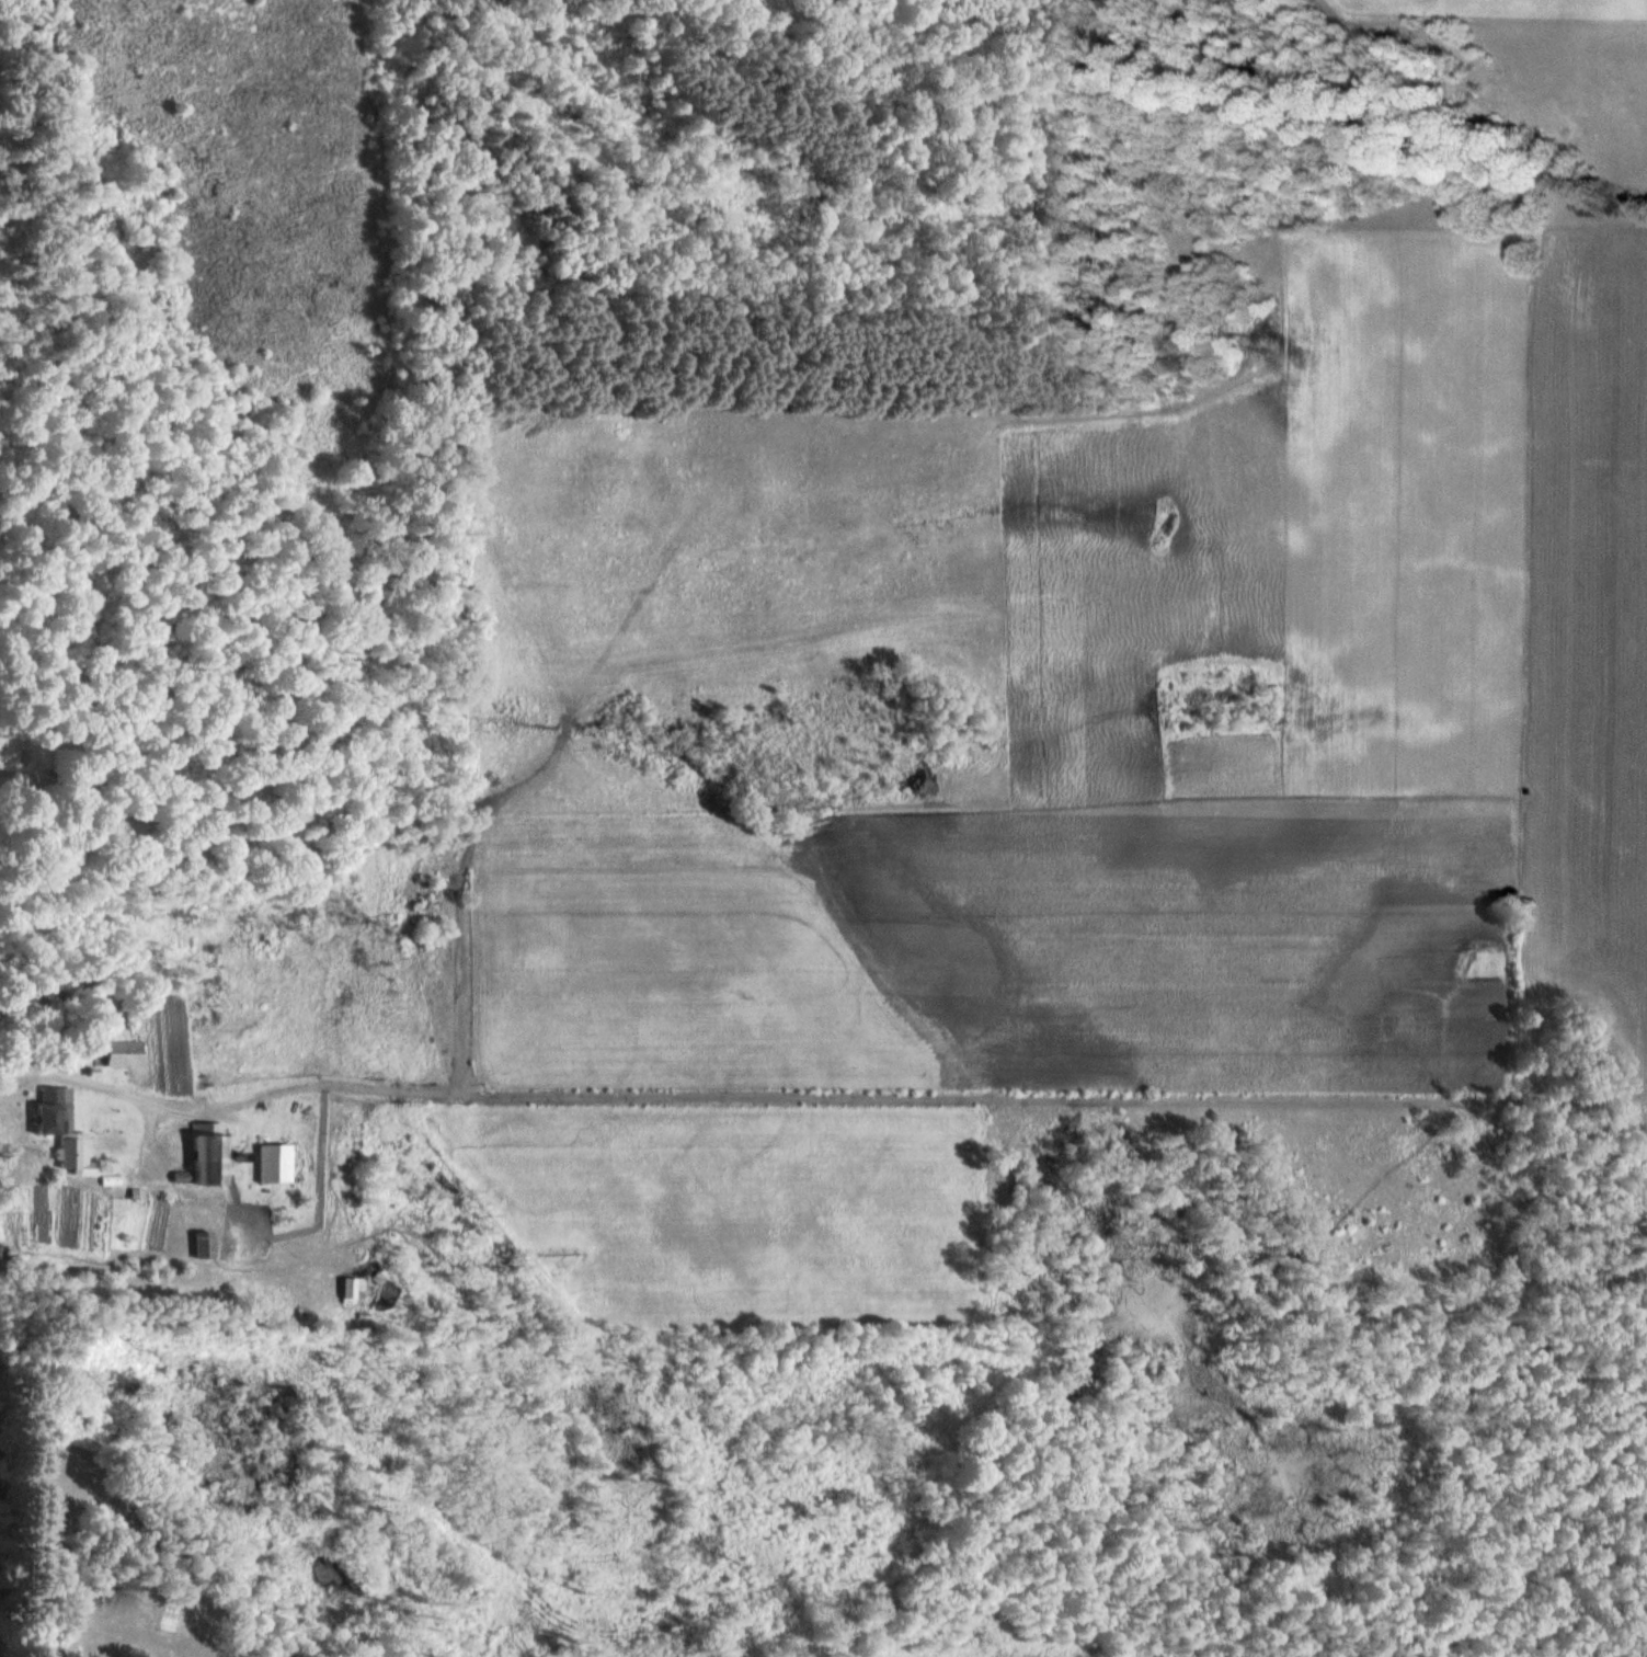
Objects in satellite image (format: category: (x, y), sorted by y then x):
building: (117, 1033)
building: (47, 1116)
building: (209, 1159)
building: (278, 1162)

